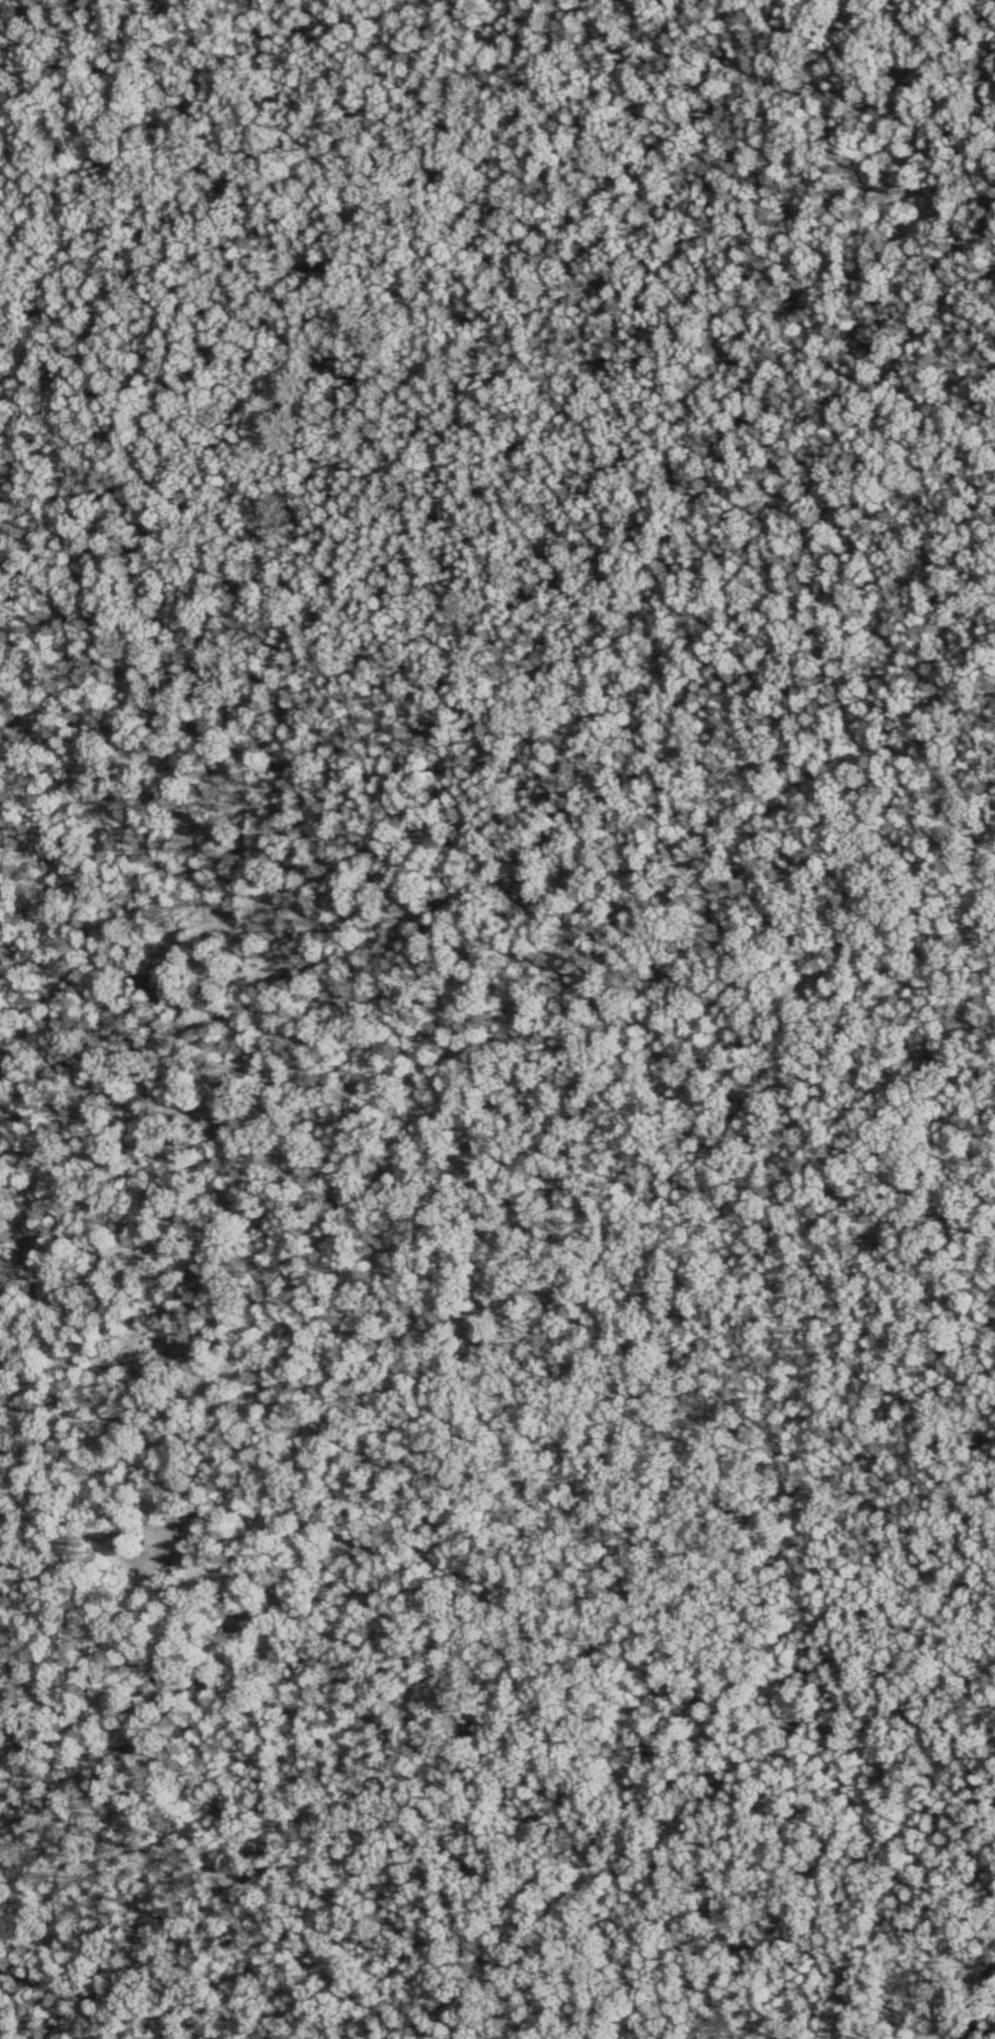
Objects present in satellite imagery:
road: (8, 521)

